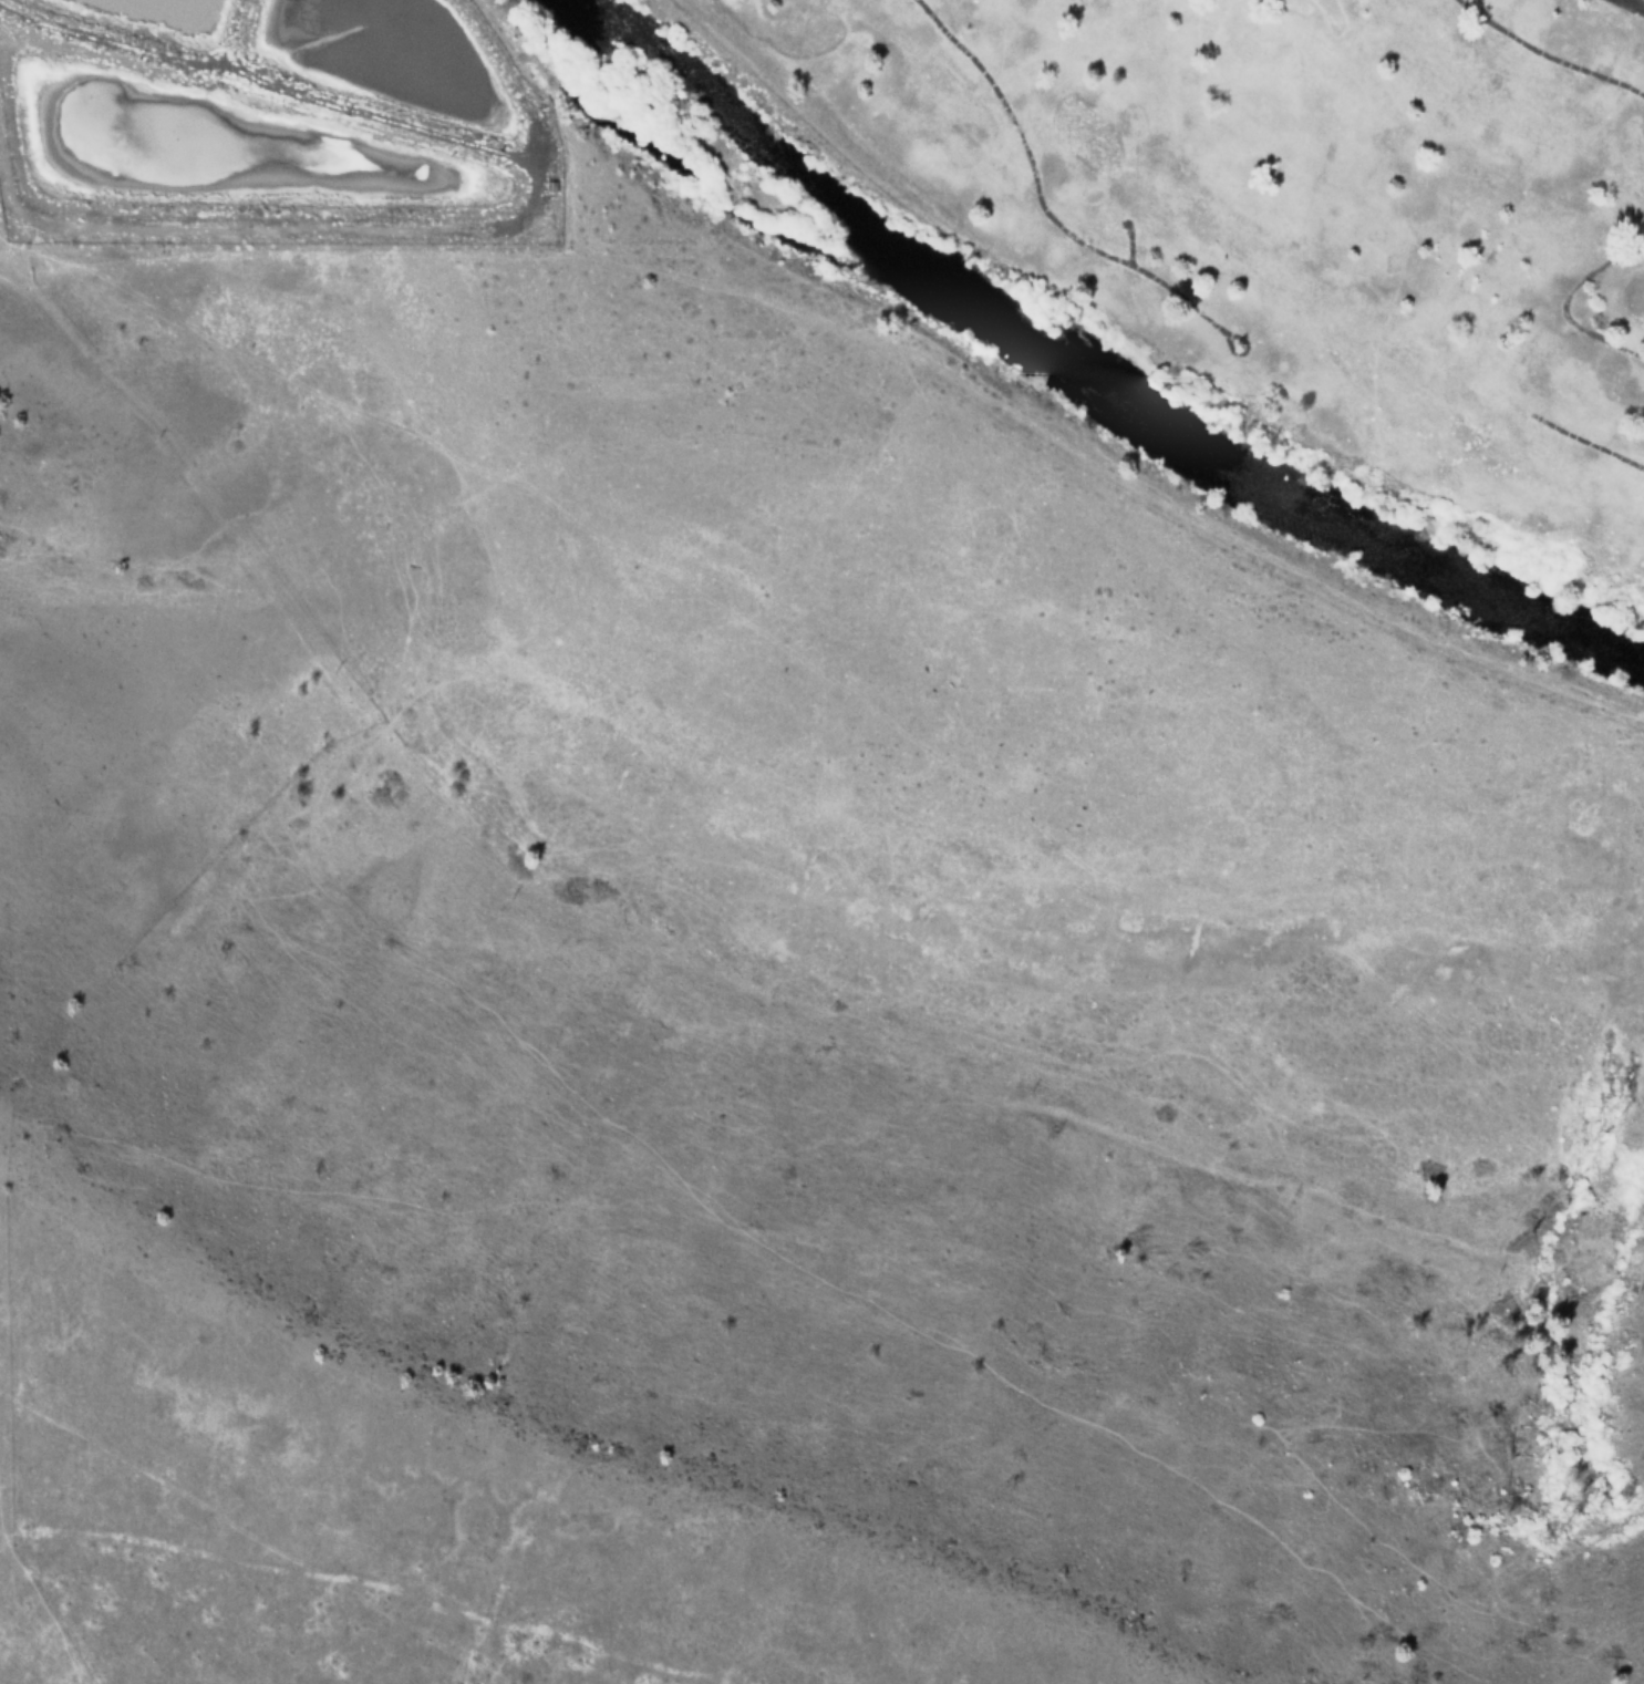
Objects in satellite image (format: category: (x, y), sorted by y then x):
park: (1294, 210)
river: (1084, 376)
road: (1179, 516)

